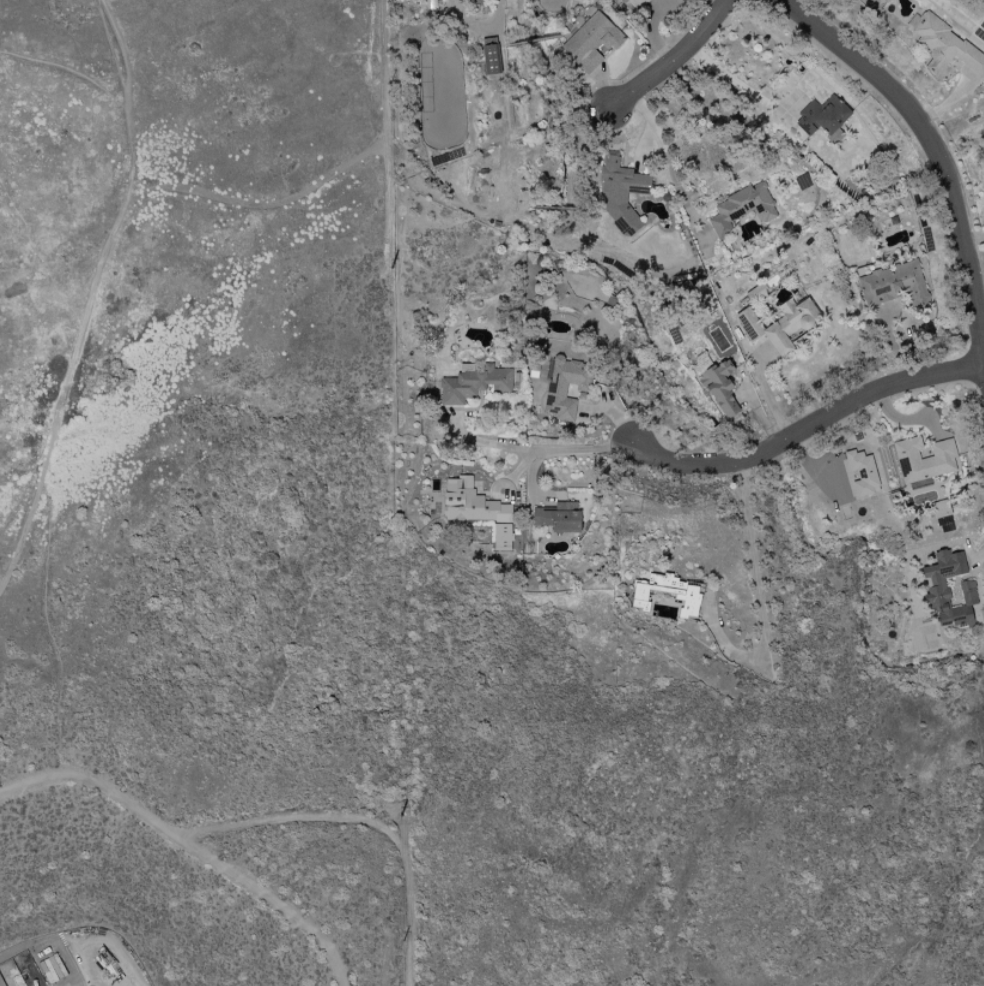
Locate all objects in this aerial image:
building: (633, 5)
building: (943, 45)
building: (490, 59)
road: (672, 60)
road: (63, 70)
road: (737, 86)
power tower: (390, 91)
building: (820, 116)
road: (932, 147)
road: (666, 157)
building: (619, 191)
building: (741, 207)
road: (974, 238)
power tower: (395, 266)
building: (893, 284)
road: (91, 293)
building: (472, 382)
building: (563, 387)
building: (718, 387)
road: (767, 395)
road: (807, 426)
road: (541, 449)
building: (923, 459)
building: (861, 472)
building: (475, 510)
building: (941, 515)
building: (556, 517)
road: (8, 552)
building: (935, 587)
road: (756, 591)
building: (685, 596)
power tower: (400, 811)
road: (190, 846)
power tower: (400, 932)
building: (51, 968)

